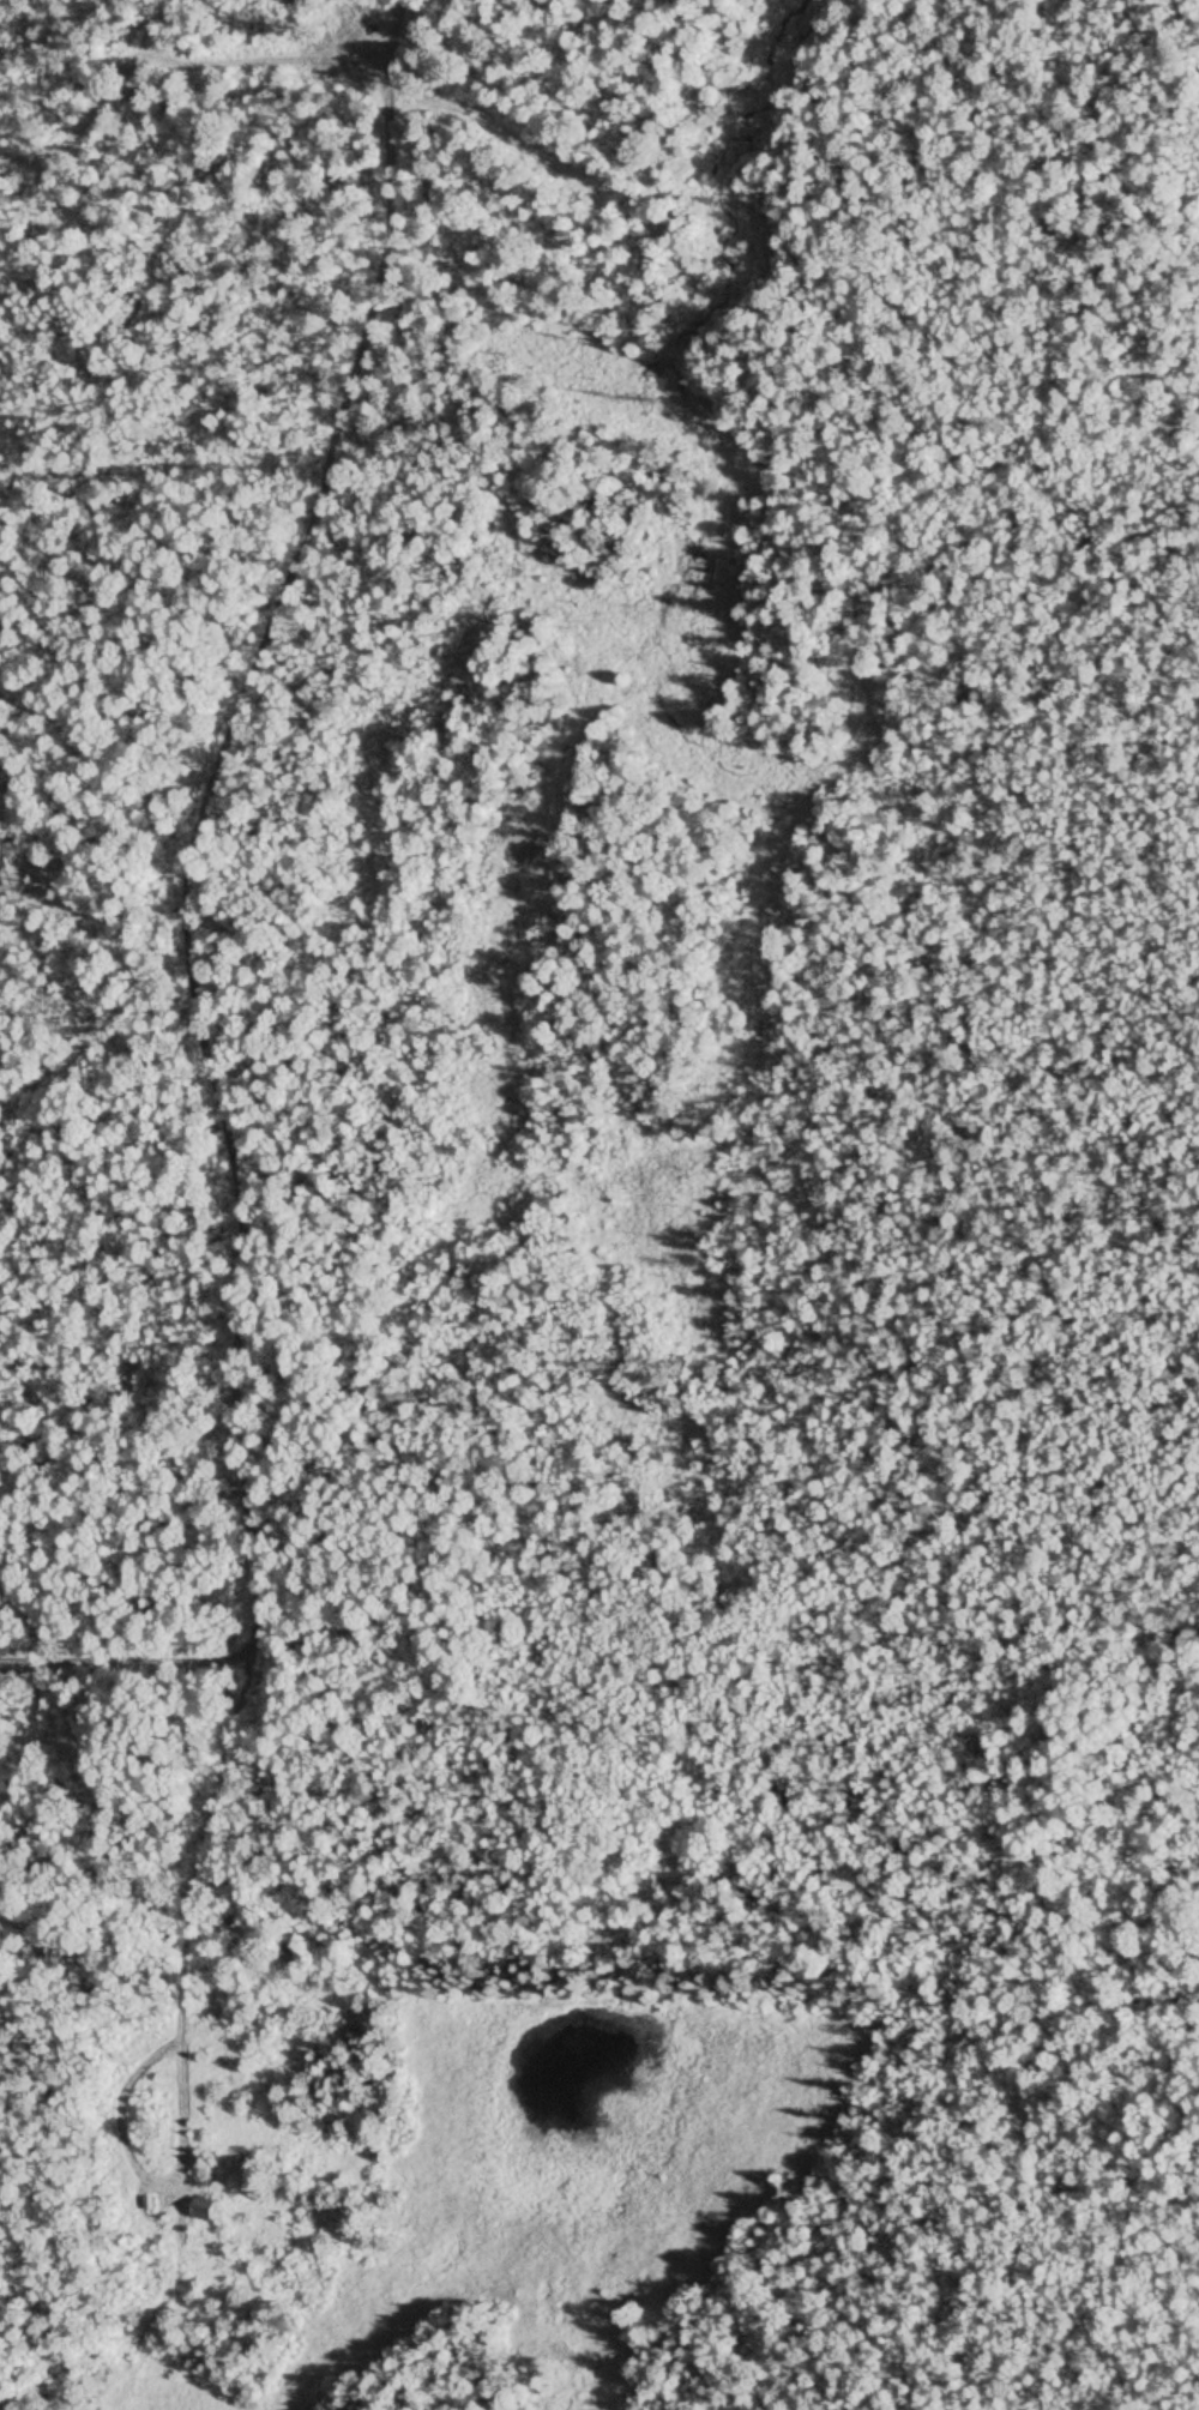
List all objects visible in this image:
building: (2, 890)
road: (187, 914)

